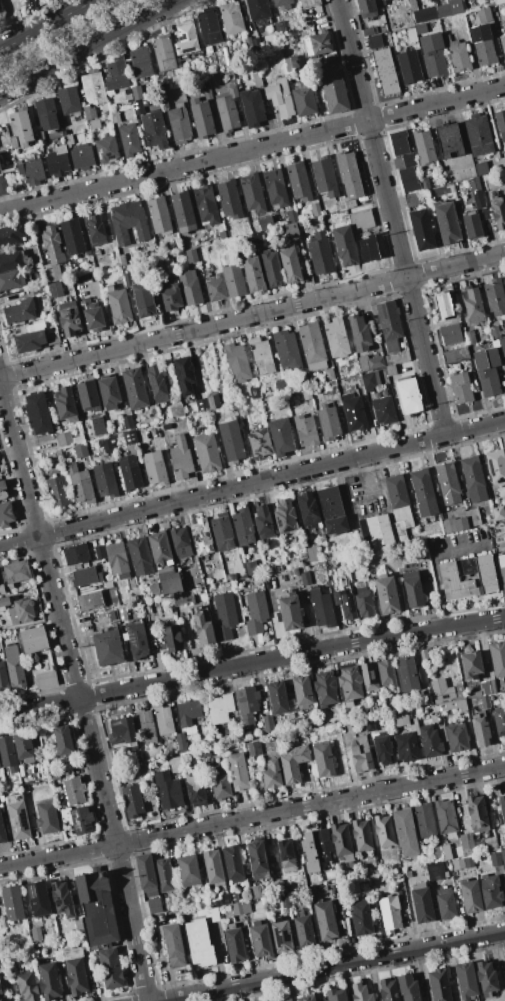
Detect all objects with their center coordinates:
building: (499, 1)
building: (308, 3)
building: (29, 4)
building: (282, 4)
building: (413, 5)
building: (366, 8)
building: (449, 8)
building: (257, 9)
building: (424, 14)
building: (484, 15)
building: (231, 18)
road: (47, 25)
building: (208, 27)
building: (368, 31)
building: (411, 35)
building: (186, 37)
building: (374, 42)
building: (317, 44)
building: (482, 44)
building: (502, 44)
building: (248, 45)
building: (257, 45)
road: (87, 46)
building: (163, 53)
building: (433, 55)
building: (458, 56)
building: (141, 62)
building: (408, 66)
building: (384, 71)
building: (116, 74)
building: (257, 79)
building: (162, 85)
building: (91, 87)
building: (334, 87)
building: (136, 92)
building: (207, 93)
building: (128, 95)
building: (279, 97)
building: (303, 98)
building: (68, 100)
building: (44, 106)
building: (137, 107)
building: (252, 107)
building: (228, 110)
building: (89, 113)
building: (115, 116)
building: (201, 118)
building: (48, 122)
building: (179, 123)
building: (500, 123)
building: (94, 124)
building: (20, 128)
building: (154, 129)
building: (478, 134)
building: (40, 137)
building: (129, 139)
building: (449, 140)
building: (68, 141)
building: (399, 143)
building: (423, 146)
road: (252, 148)
building: (106, 149)
building: (81, 156)
building: (409, 160)
building: (57, 161)
building: (503, 162)
building: (9, 167)
building: (480, 168)
building: (30, 172)
building: (349, 174)
building: (325, 176)
building: (408, 179)
building: (298, 181)
building: (424, 182)
building: (474, 184)
building: (3, 186)
building: (274, 188)
building: (252, 193)
building: (229, 199)
building: (411, 200)
building: (351, 203)
building: (206, 205)
building: (315, 209)
building: (183, 212)
building: (498, 213)
building: (159, 216)
building: (292, 216)
road: (391, 217)
building: (361, 219)
building: (447, 222)
building: (128, 223)
building: (266, 223)
building: (472, 225)
building: (290, 229)
building: (421, 229)
building: (96, 230)
building: (11, 234)
building: (72, 236)
building: (254, 238)
building: (345, 245)
building: (368, 248)
building: (151, 251)
building: (52, 253)
building: (320, 253)
building: (192, 255)
building: (125, 258)
building: (10, 261)
building: (107, 263)
building: (289, 264)
building: (272, 268)
building: (252, 273)
building: (76, 279)
building: (11, 280)
building: (233, 281)
building: (215, 286)
building: (189, 287)
building: (504, 287)
building: (55, 290)
building: (141, 296)
building: (171, 296)
building: (495, 296)
building: (443, 305)
building: (473, 305)
building: (119, 306)
building: (20, 311)
road: (252, 316)
building: (93, 318)
building: (68, 319)
building: (389, 325)
building: (495, 332)
building: (359, 333)
building: (450, 333)
building: (336, 337)
building: (470, 338)
building: (35, 339)
building: (311, 342)
building: (502, 346)
building: (286, 349)
building: (455, 355)
building: (261, 356)
building: (396, 358)
building: (237, 363)
building: (375, 363)
building: (352, 367)
building: (391, 370)
building: (487, 371)
building: (329, 374)
building: (184, 375)
building: (370, 380)
building: (356, 381)
building: (157, 384)
building: (461, 387)
building: (134, 388)
building: (328, 389)
building: (108, 393)
building: (306, 394)
building: (408, 395)
building: (89, 396)
building: (212, 401)
building: (65, 404)
building: (384, 410)
building: (177, 411)
building: (353, 412)
building: (37, 413)
building: (127, 422)
building: (328, 422)
building: (84, 425)
building: (166, 426)
building: (305, 430)
building: (280, 436)
building: (130, 437)
building: (64, 439)
building: (78, 440)
building: (231, 440)
building: (105, 444)
building: (259, 444)
building: (80, 451)
building: (206, 453)
building: (51, 455)
building: (180, 457)
building: (496, 466)
building: (155, 468)
building: (130, 473)
road: (368, 475)
building: (473, 478)
building: (105, 480)
road: (252, 483)
building: (448, 483)
building: (81, 484)
building: (3, 490)
building: (423, 492)
building: (58, 493)
building: (308, 509)
building: (331, 509)
building: (498, 513)
building: (6, 514)
building: (285, 517)
building: (402, 517)
building: (472, 518)
building: (263, 523)
building: (455, 524)
building: (504, 525)
building: (242, 527)
building: (222, 532)
building: (200, 538)
building: (181, 545)
building: (159, 548)
building: (99, 552)
building: (75, 553)
building: (311, 554)
building: (139, 556)
building: (117, 560)
road: (434, 563)
building: (468, 566)
building: (502, 569)
building: (15, 571)
building: (485, 573)
building: (85, 576)
building: (217, 577)
building: (305, 579)
building: (169, 581)
building: (454, 582)
building: (412, 589)
building: (154, 590)
building: (2, 592)
building: (133, 595)
building: (386, 595)
building: (4, 600)
building: (89, 601)
building: (363, 602)
building: (345, 603)
building: (146, 607)
building: (321, 608)
building: (23, 609)
building: (255, 612)
building: (289, 612)
building: (224, 615)
building: (202, 630)
building: (172, 638)
building: (33, 639)
building: (137, 640)
building: (107, 648)
building: (498, 658)
road: (252, 663)
building: (471, 664)
building: (15, 670)
building: (386, 673)
building: (407, 675)
building: (3, 677)
building: (368, 677)
building: (46, 679)
building: (350, 683)
building: (487, 687)
building: (324, 688)
building: (441, 691)
building: (301, 692)
road: (78, 694)
building: (473, 694)
building: (277, 698)
building: (484, 702)
building: (246, 705)
building: (454, 705)
building: (218, 709)
building: (190, 717)
building: (399, 719)
building: (163, 720)
building: (499, 721)
building: (267, 723)
building: (369, 723)
building: (145, 727)
building: (480, 729)
building: (123, 734)
building: (456, 738)
building: (63, 740)
building: (180, 741)
building: (429, 741)
building: (23, 747)
building: (405, 747)
building: (382, 748)
building: (253, 749)
road: (446, 749)
building: (206, 752)
building: (7, 754)
building: (360, 755)
building: (323, 760)
building: (293, 763)
building: (173, 766)
building: (237, 771)
building: (272, 774)
building: (220, 784)
building: (195, 789)
building: (73, 791)
building: (166, 795)
building: (132, 802)
building: (502, 807)
building: (476, 813)
road: (252, 816)
building: (445, 816)
building: (17, 817)
building: (46, 817)
building: (81, 820)
building: (423, 820)
building: (383, 830)
building: (2, 831)
building: (405, 832)
building: (361, 835)
building: (466, 841)
building: (341, 842)
building: (322, 844)
building: (489, 847)
building: (446, 851)
building: (436, 853)
building: (457, 854)
building: (286, 855)
building: (503, 856)
building: (495, 859)
building: (257, 860)
building: (468, 862)
building: (233, 864)
building: (458, 864)
building: (213, 867)
building: (188, 870)
building: (435, 871)
building: (165, 875)
building: (148, 882)
building: (490, 891)
building: (253, 892)
building: (311, 894)
building: (471, 896)
building: (233, 897)
building: (42, 901)
building: (65, 901)
building: (284, 901)
building: (219, 902)
building: (422, 902)
building: (446, 903)
building: (14, 905)
building: (240, 908)
building: (101, 910)
building: (299, 912)
building: (390, 913)
building: (208, 916)
building: (362, 918)
building: (325, 920)
building: (301, 933)
building: (37, 936)
building: (278, 937)
building: (257, 942)
building: (195, 945)
building: (231, 946)
building: (171, 947)
building: (0, 959)
building: (504, 959)
road: (330, 967)
building: (74, 970)
building: (112, 970)
road: (453, 972)
building: (487, 978)
building: (48, 981)
building: (466, 981)
building: (439, 984)
building: (27, 986)
building: (407, 987)
building: (1, 989)
building: (388, 990)
building: (360, 993)
building: (335, 995)
building: (306, 998)
building: (1, 999)
building: (257, 1000)
building: (287, 1000)

